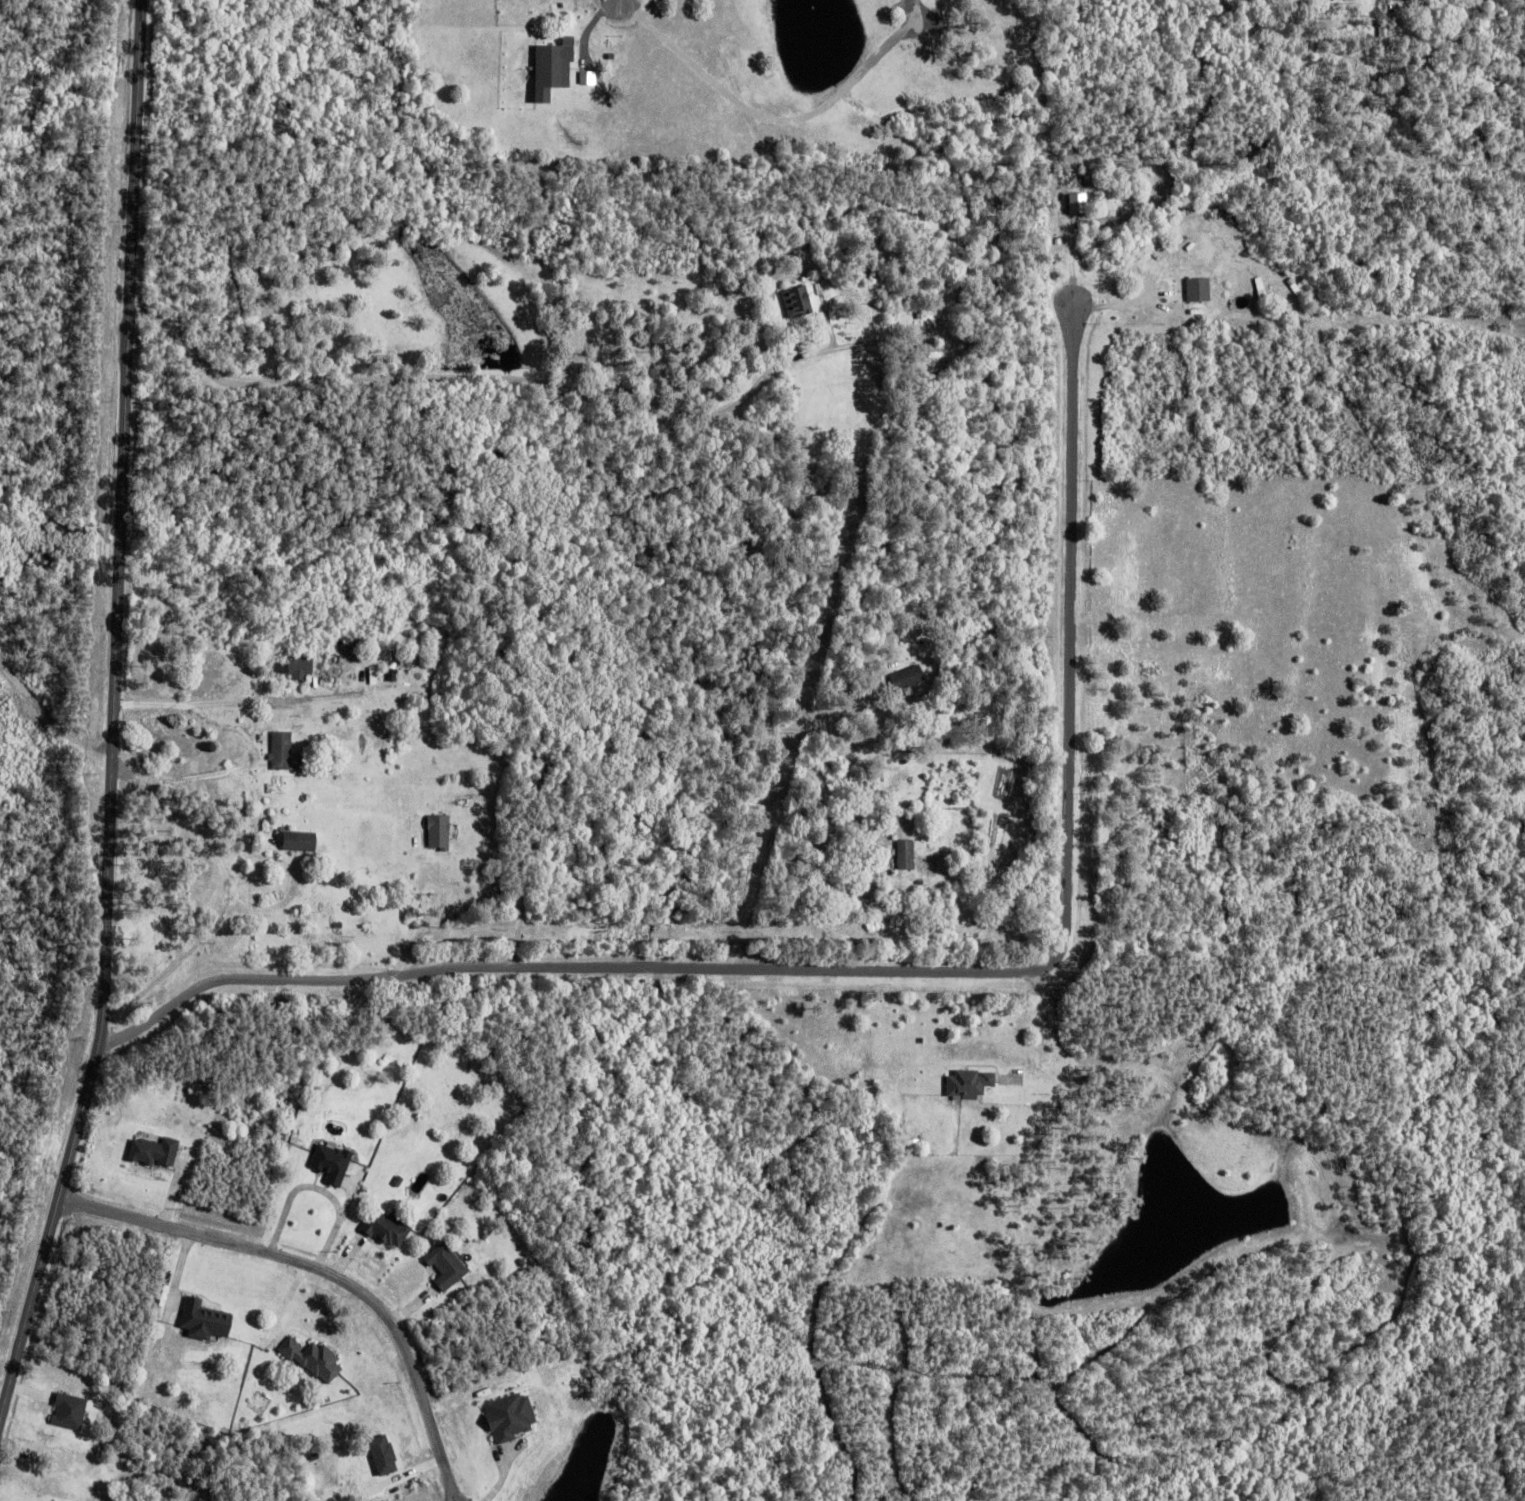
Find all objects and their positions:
building: (547, 67)
building: (1074, 202)
building: (846, 248)
building: (1194, 289)
building: (797, 300)
road: (1118, 302)
building: (838, 310)
building: (924, 349)
building: (352, 643)
building: (971, 650)
building: (297, 667)
building: (393, 675)
building: (374, 676)
building: (908, 677)
building: (438, 682)
building: (380, 699)
building: (859, 706)
road: (49, 711)
building: (333, 712)
road: (115, 721)
building: (284, 752)
building: (434, 831)
building: (300, 841)
building: (906, 854)
building: (264, 870)
building: (921, 882)
building: (279, 883)
building: (328, 886)
building: (943, 900)
building: (339, 925)
building: (319, 947)
road: (189, 949)
road: (897, 969)
building: (964, 1082)
building: (157, 1150)
building: (335, 1160)
building: (388, 1226)
building: (448, 1264)
road: (325, 1271)
building: (209, 1318)
building: (316, 1357)
building: (71, 1409)
building: (513, 1414)
building: (387, 1454)

